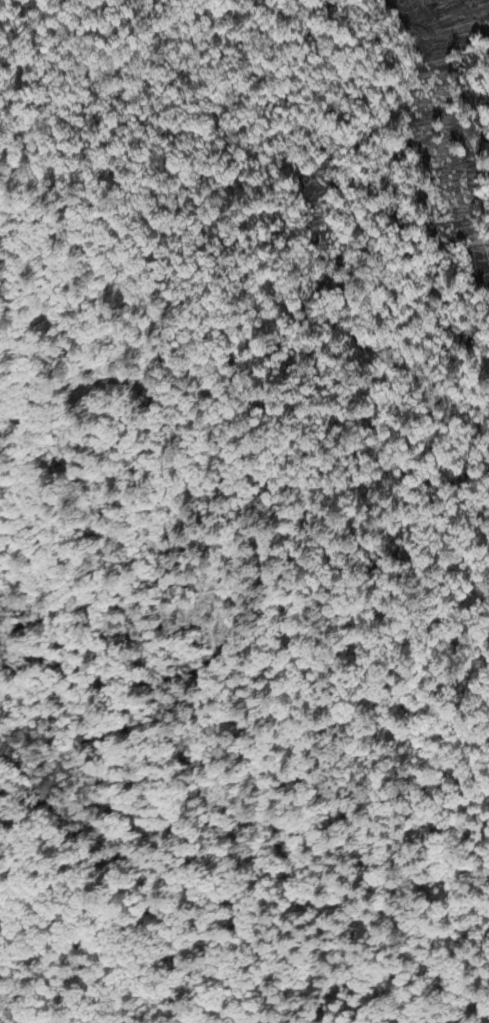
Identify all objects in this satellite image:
park: (301, 281)

